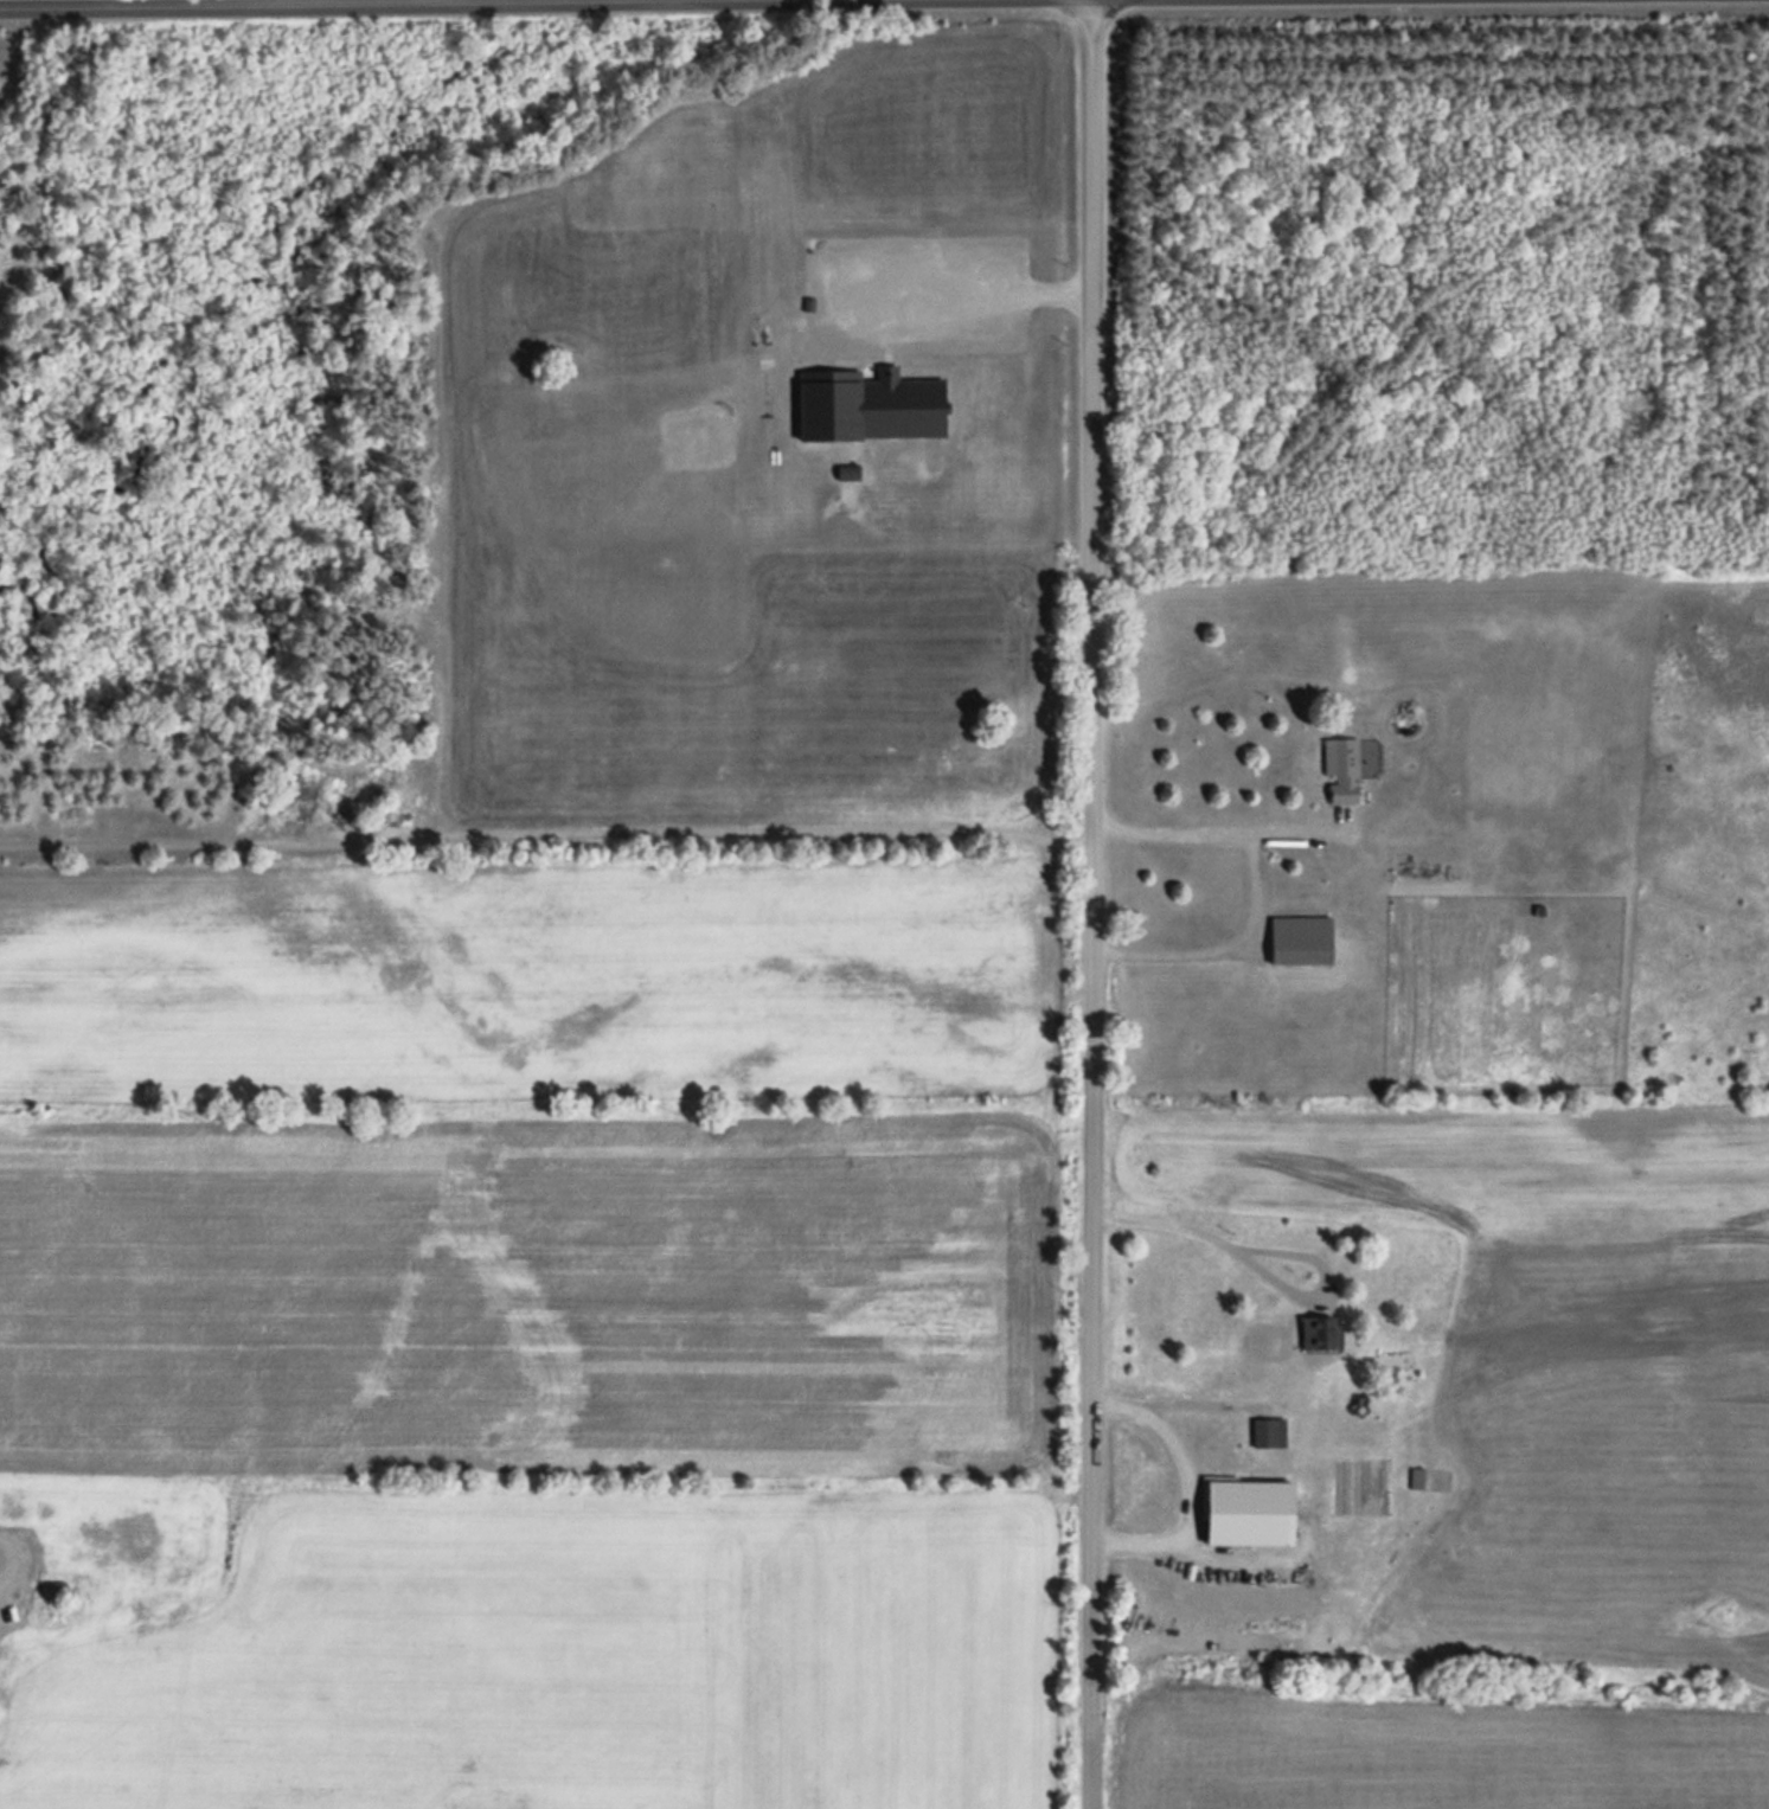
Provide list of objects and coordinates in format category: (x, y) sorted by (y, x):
road: (265, 1)
building: (1341, 769)
road: (1085, 904)
building: (1301, 938)
building: (1319, 1330)
building: (1264, 1431)
building: (94, 1539)

